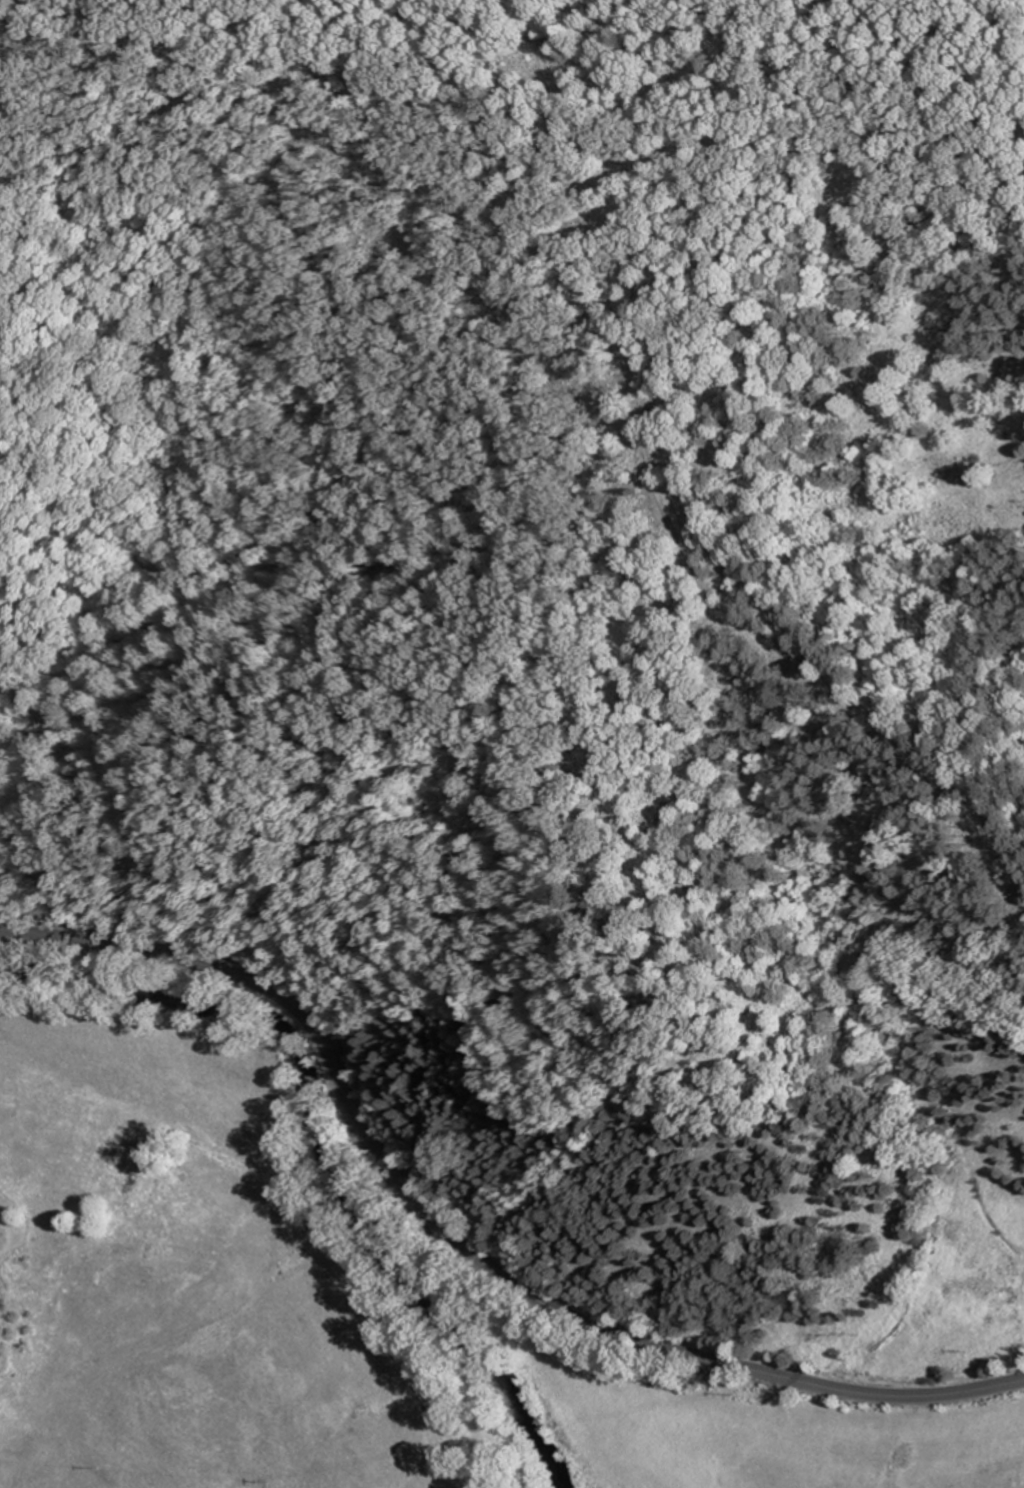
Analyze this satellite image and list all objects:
building: (141, 1188)
road: (460, 1245)

